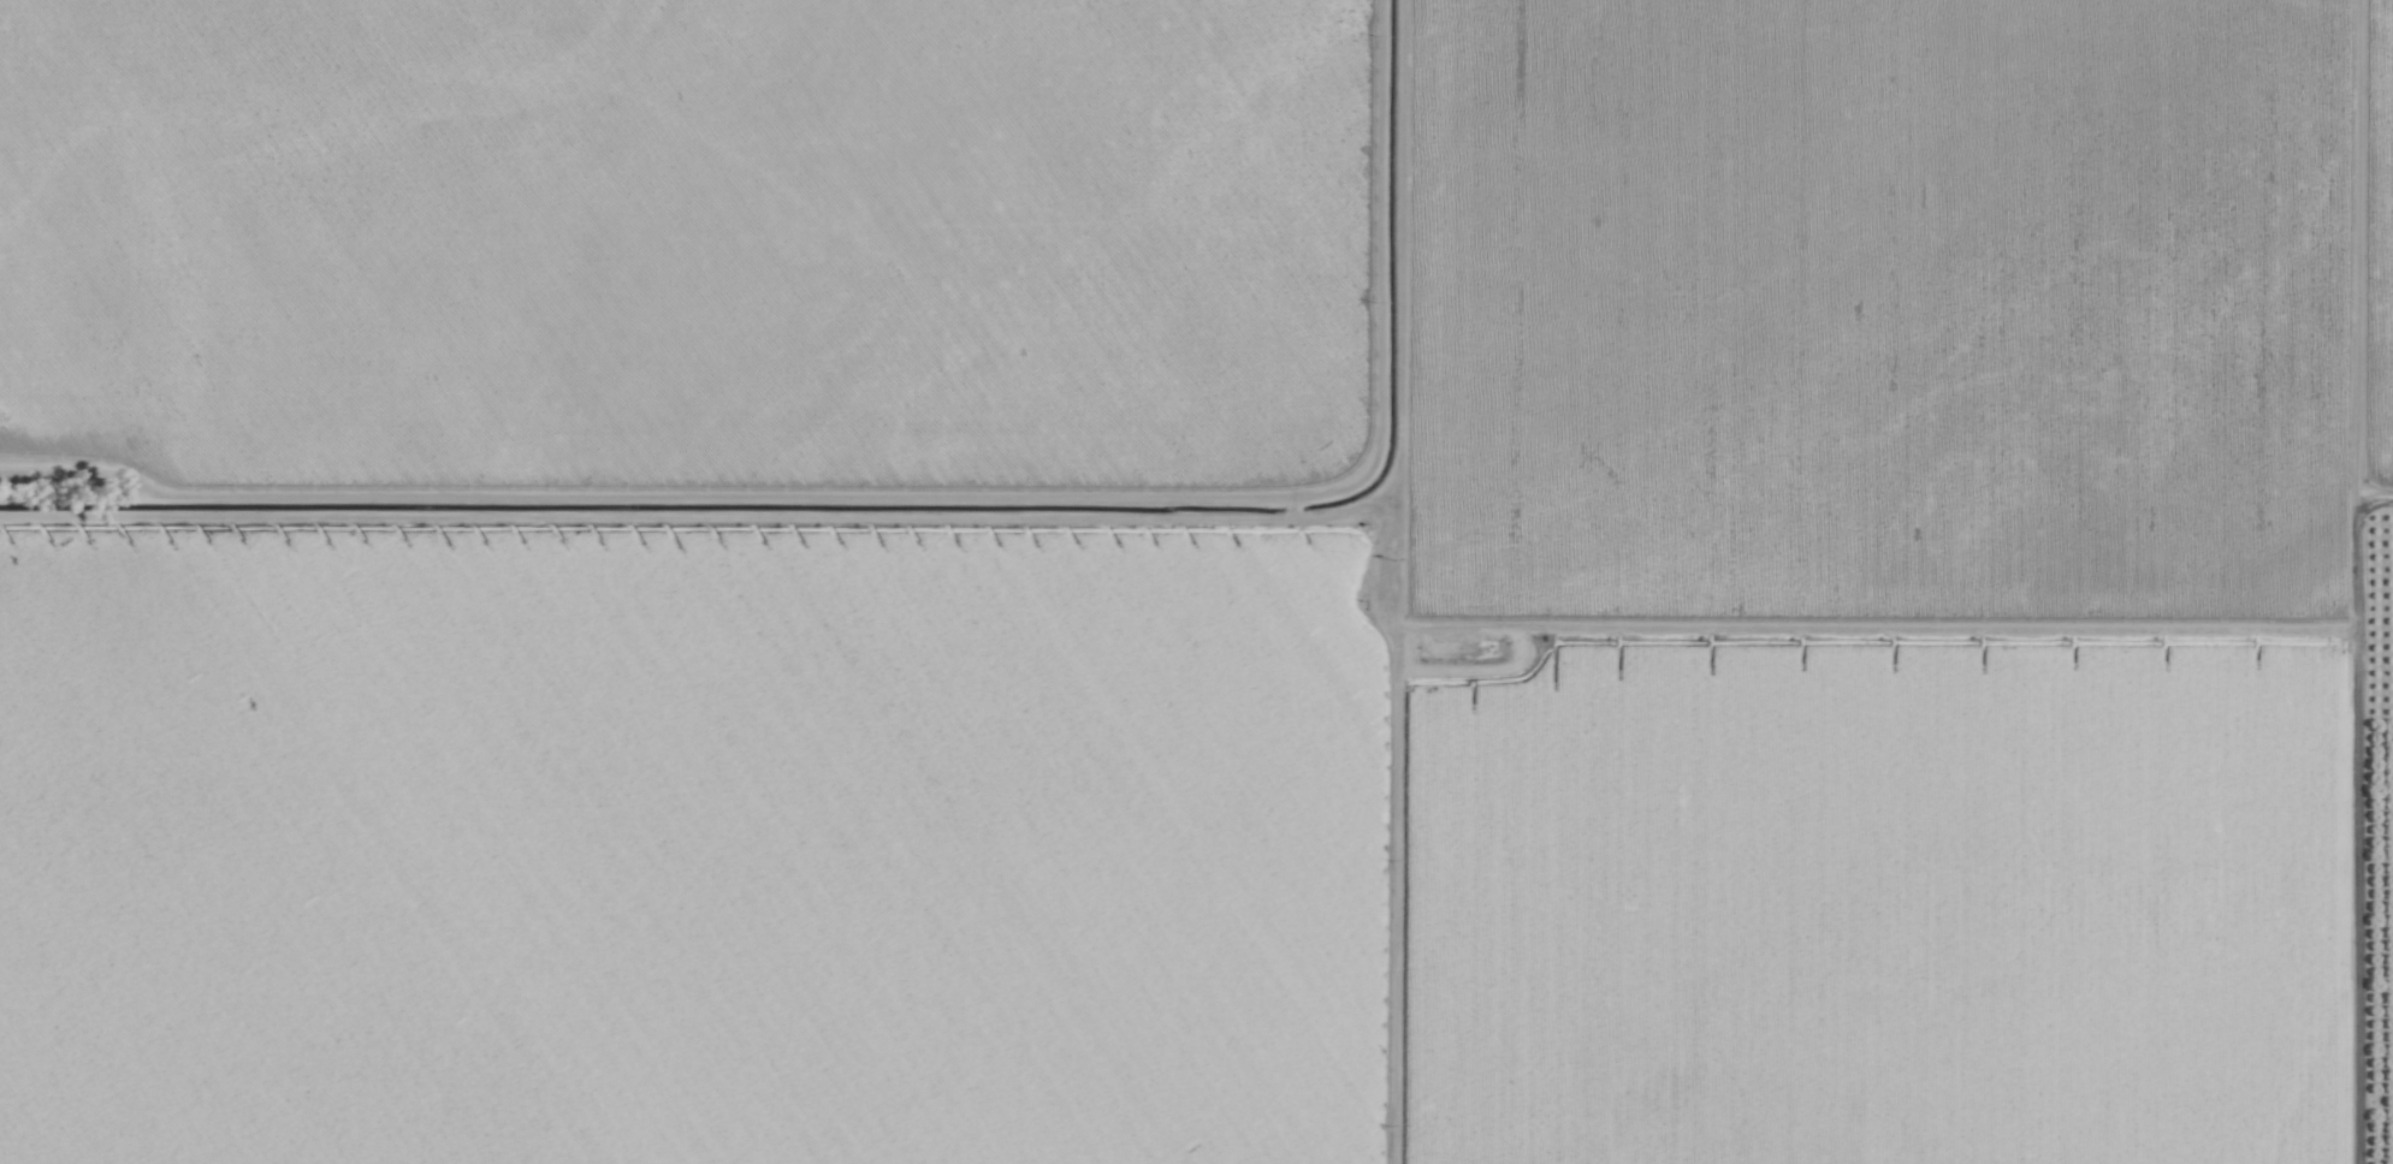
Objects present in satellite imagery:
road: (925, 503)

